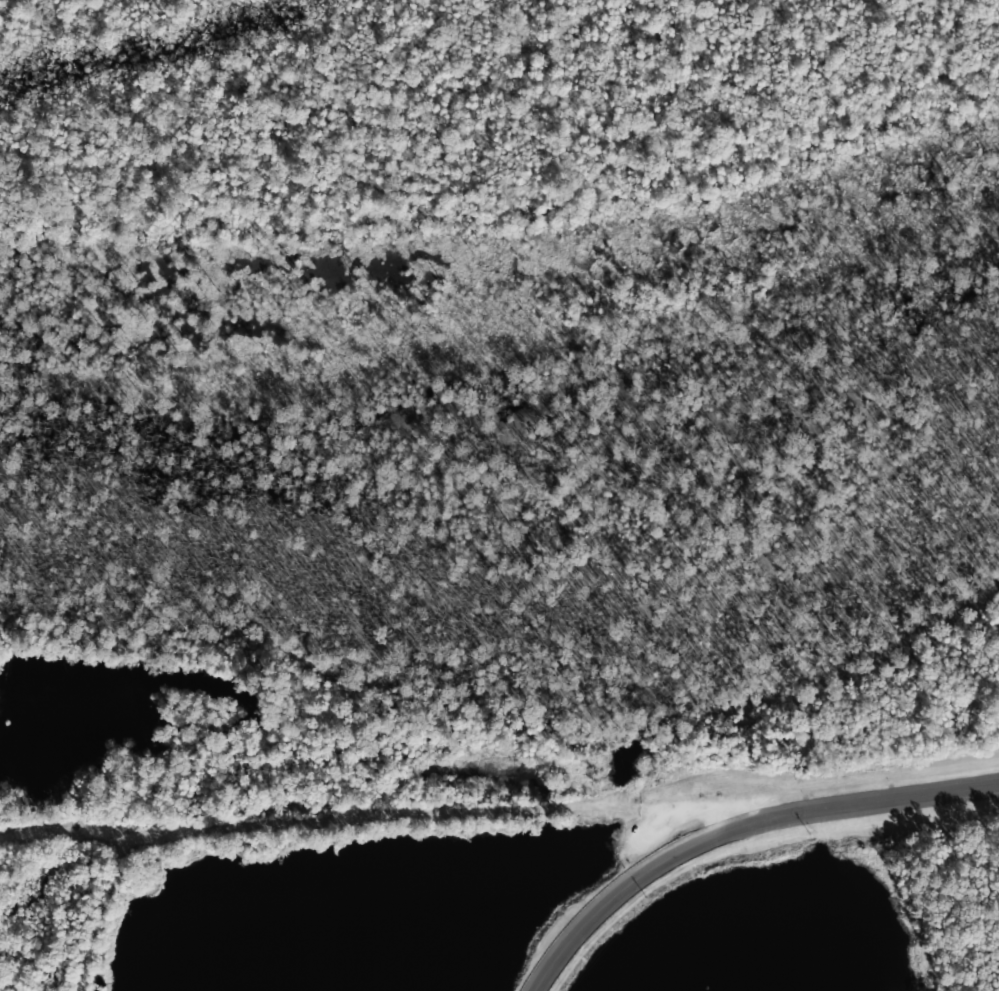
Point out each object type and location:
road: (745, 827)

